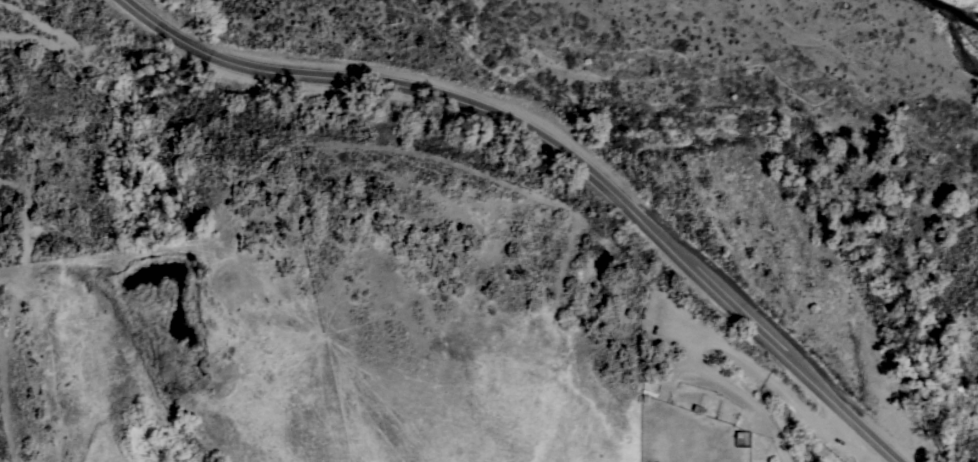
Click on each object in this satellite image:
road: (553, 147)
road: (853, 443)

